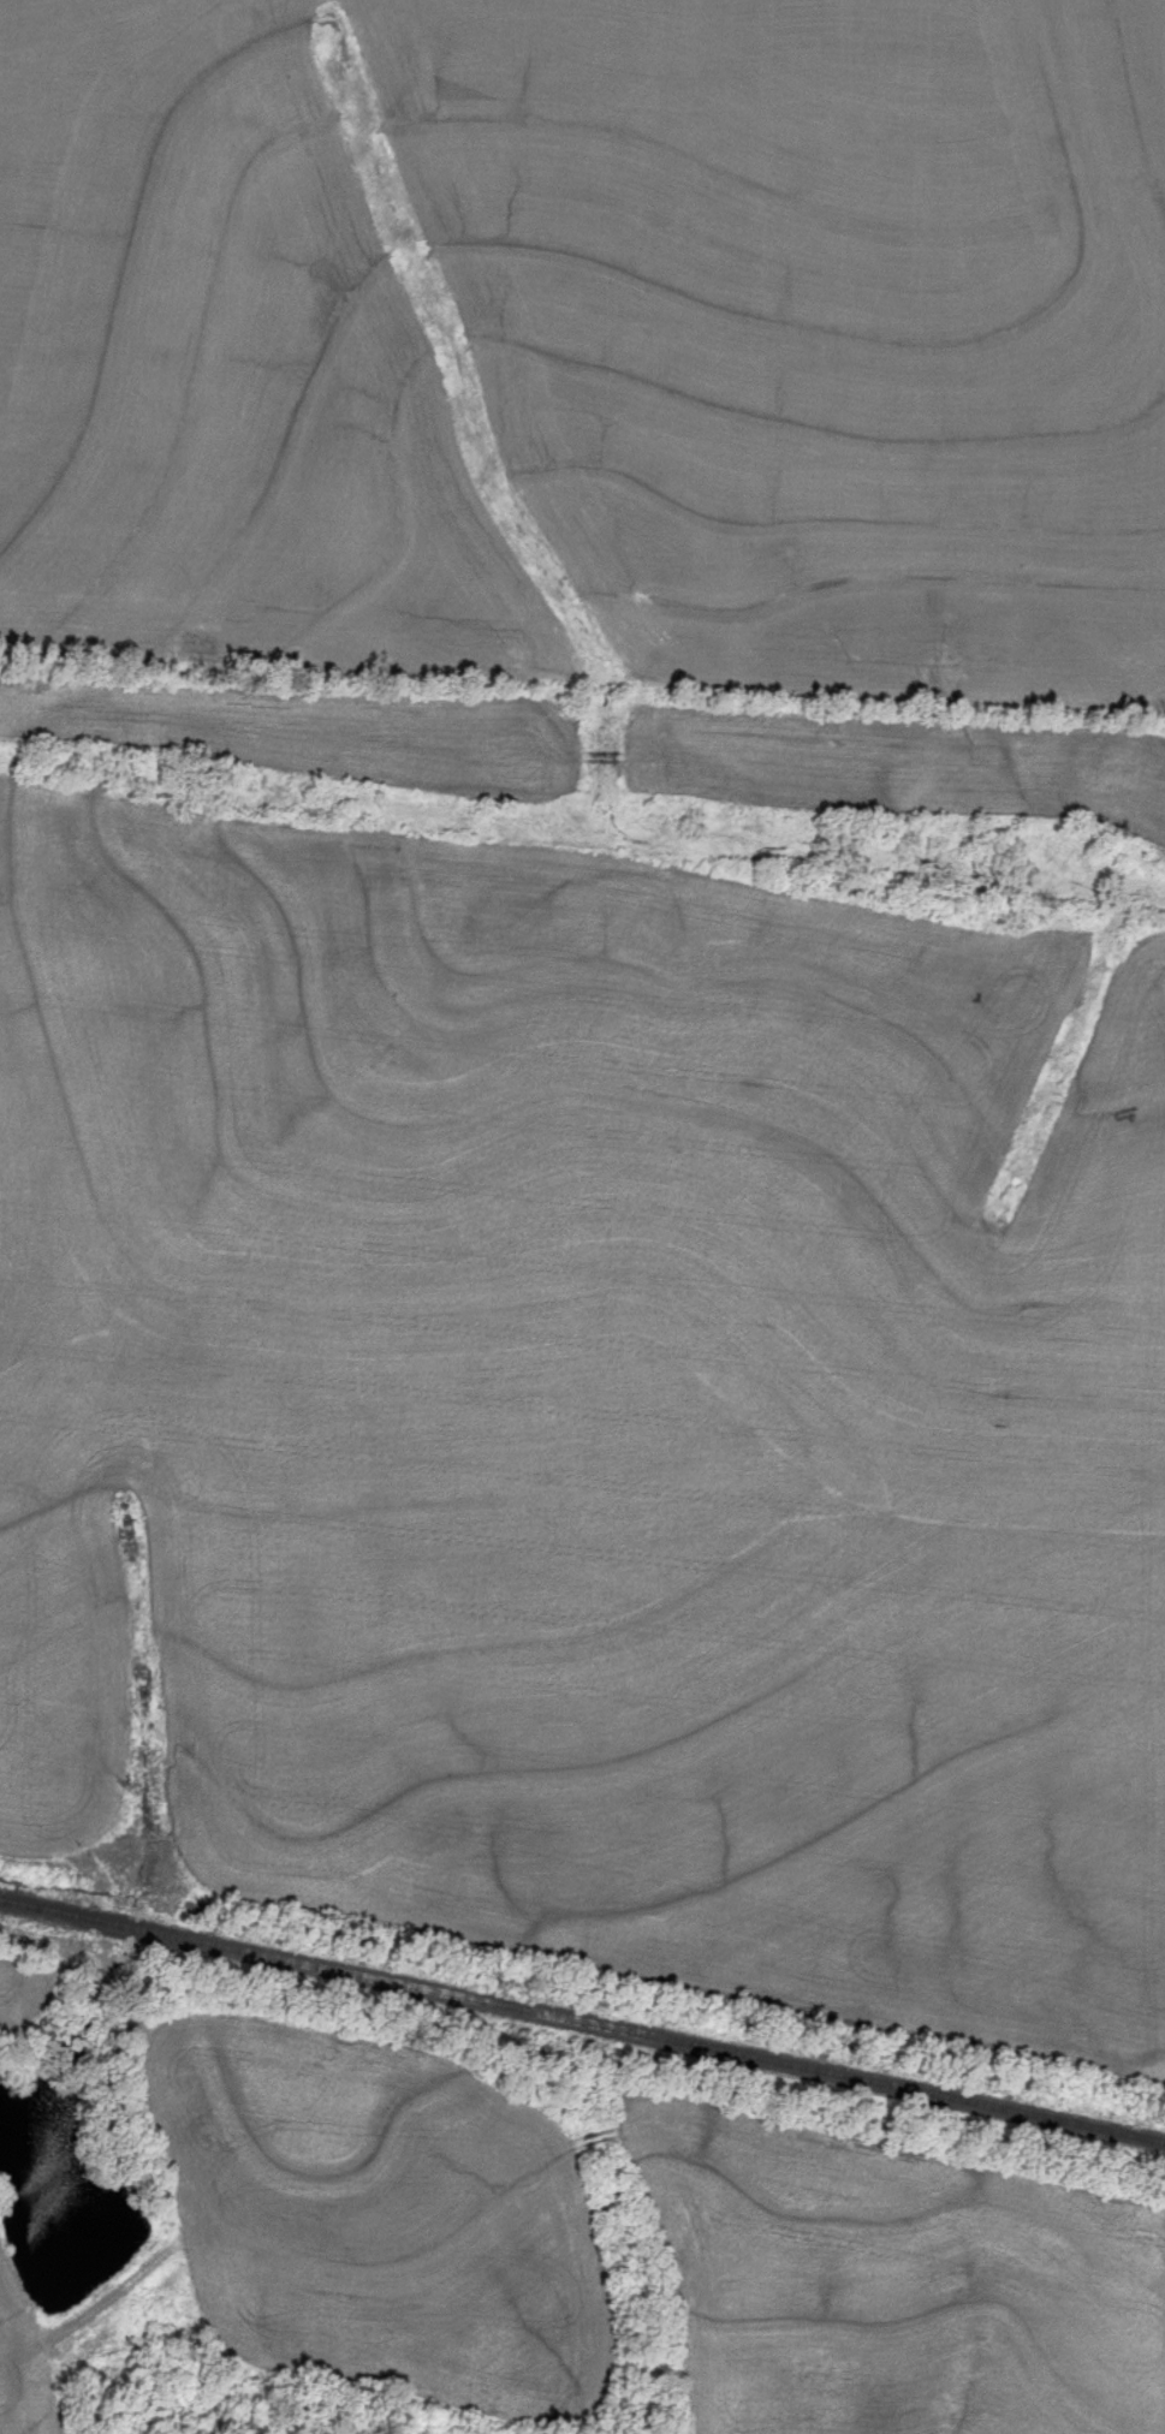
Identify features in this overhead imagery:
railway: (582, 2024)

